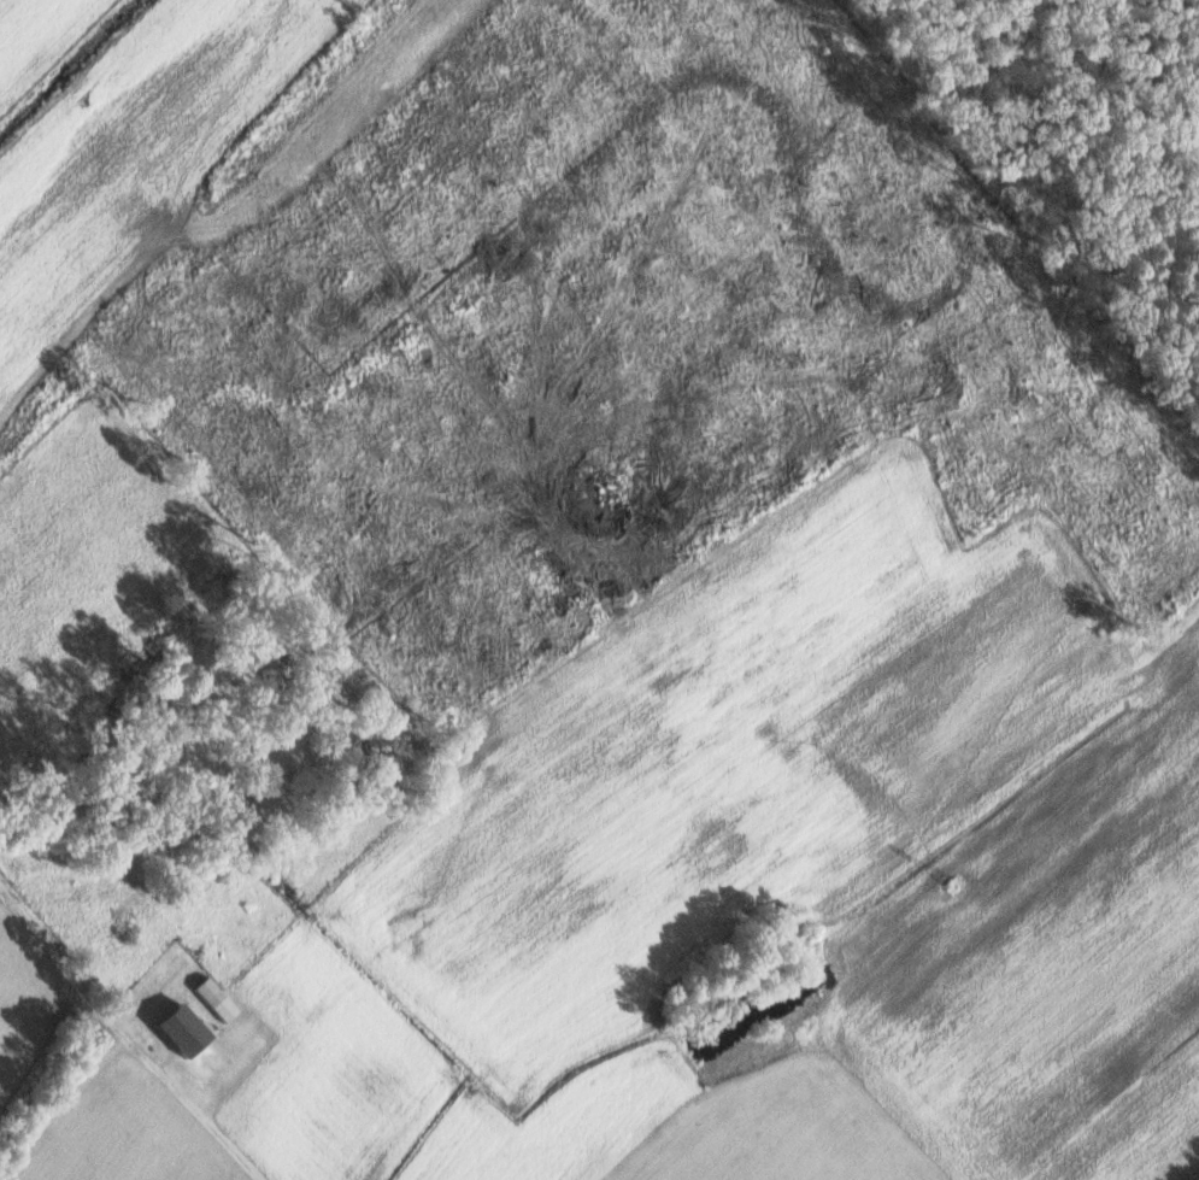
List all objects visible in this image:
power tower: (960, 882)
building: (219, 999)
building: (190, 1031)

